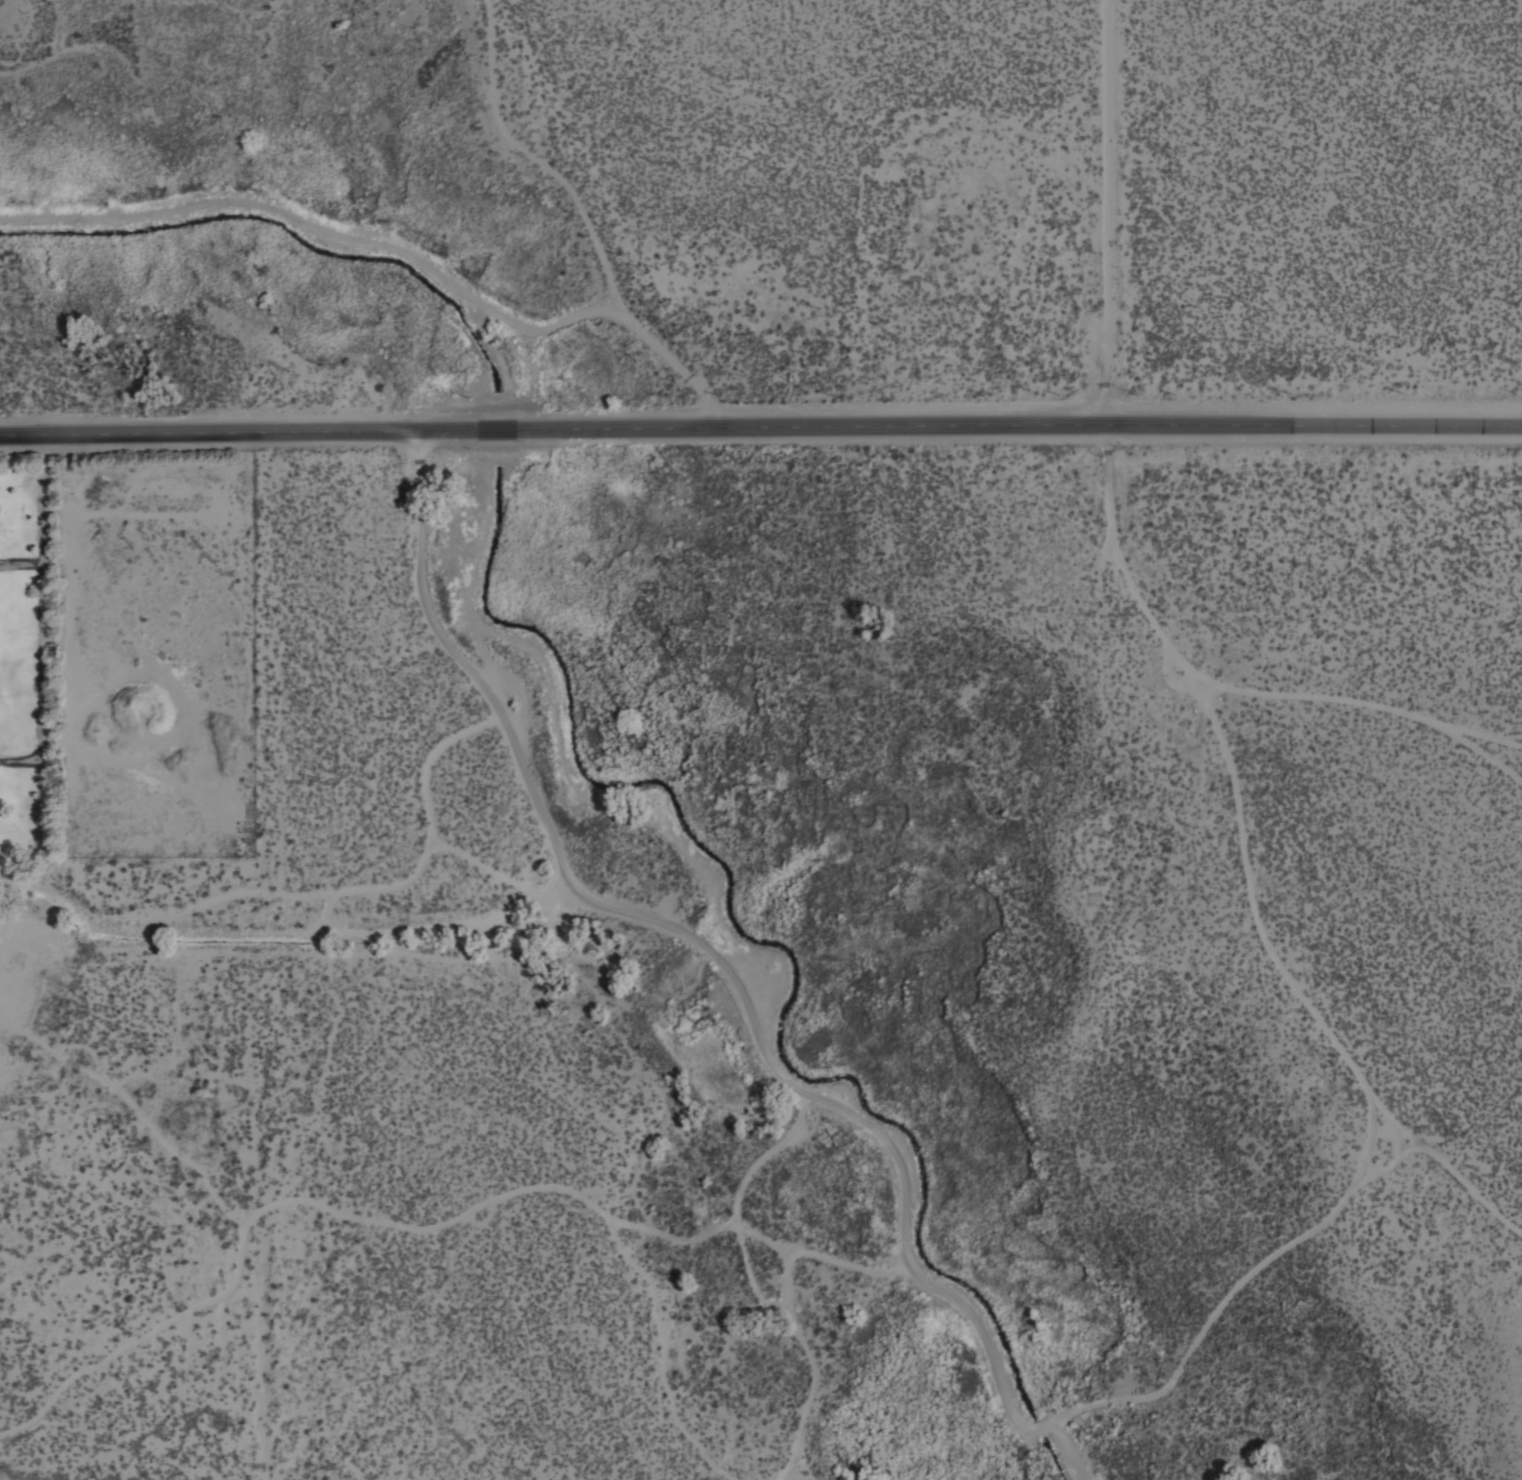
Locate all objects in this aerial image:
road: (3, 6)
road: (535, 157)
road: (402, 249)
road: (760, 428)
road: (23, 565)
road: (46, 618)
park: (128, 654)
road: (1174, 669)
road: (1362, 709)
road: (1502, 739)
road: (729, 963)
road: (755, 1179)
road: (857, 1261)
road: (1244, 1285)
road: (820, 1367)

